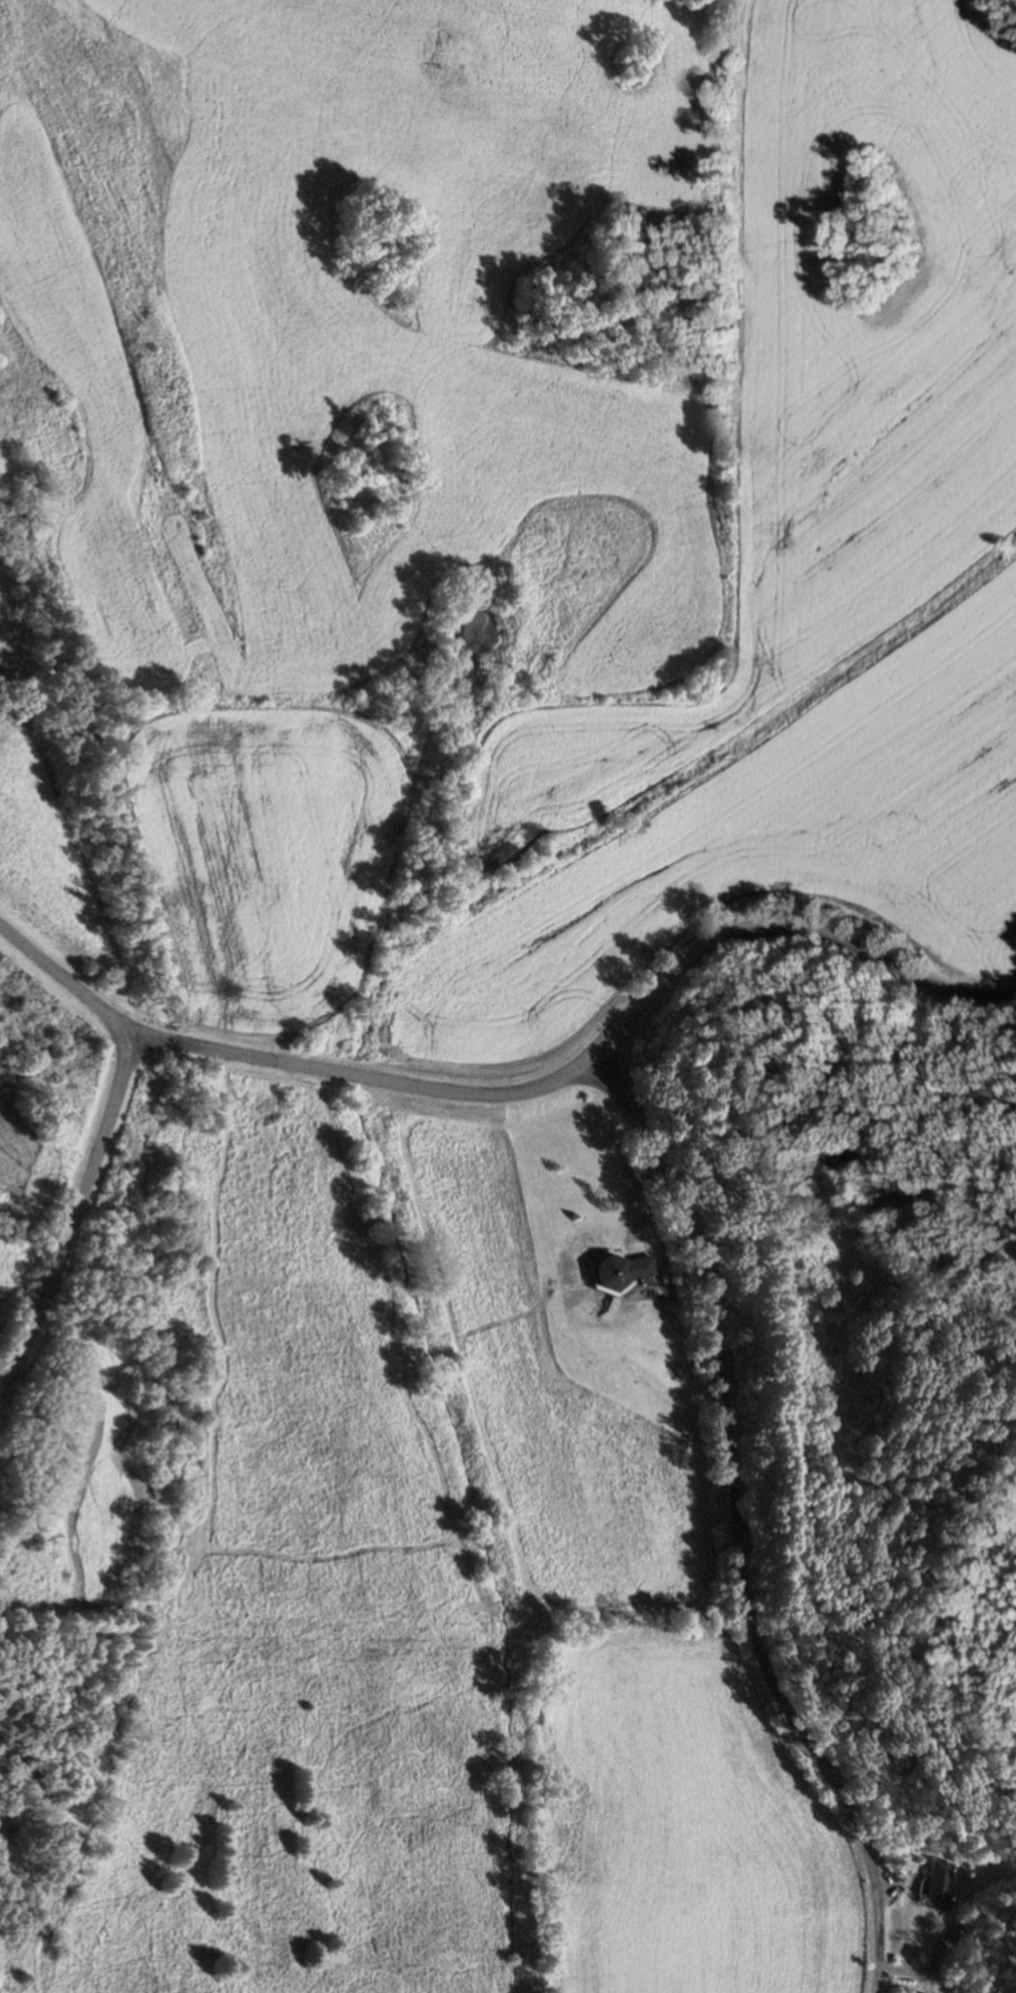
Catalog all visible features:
road: (788, 929)
road: (361, 1076)
road: (99, 1143)
building: (843, 1156)
road: (628, 1193)
building: (618, 1271)
building: (680, 1369)
road: (739, 1526)
building: (937, 1877)

